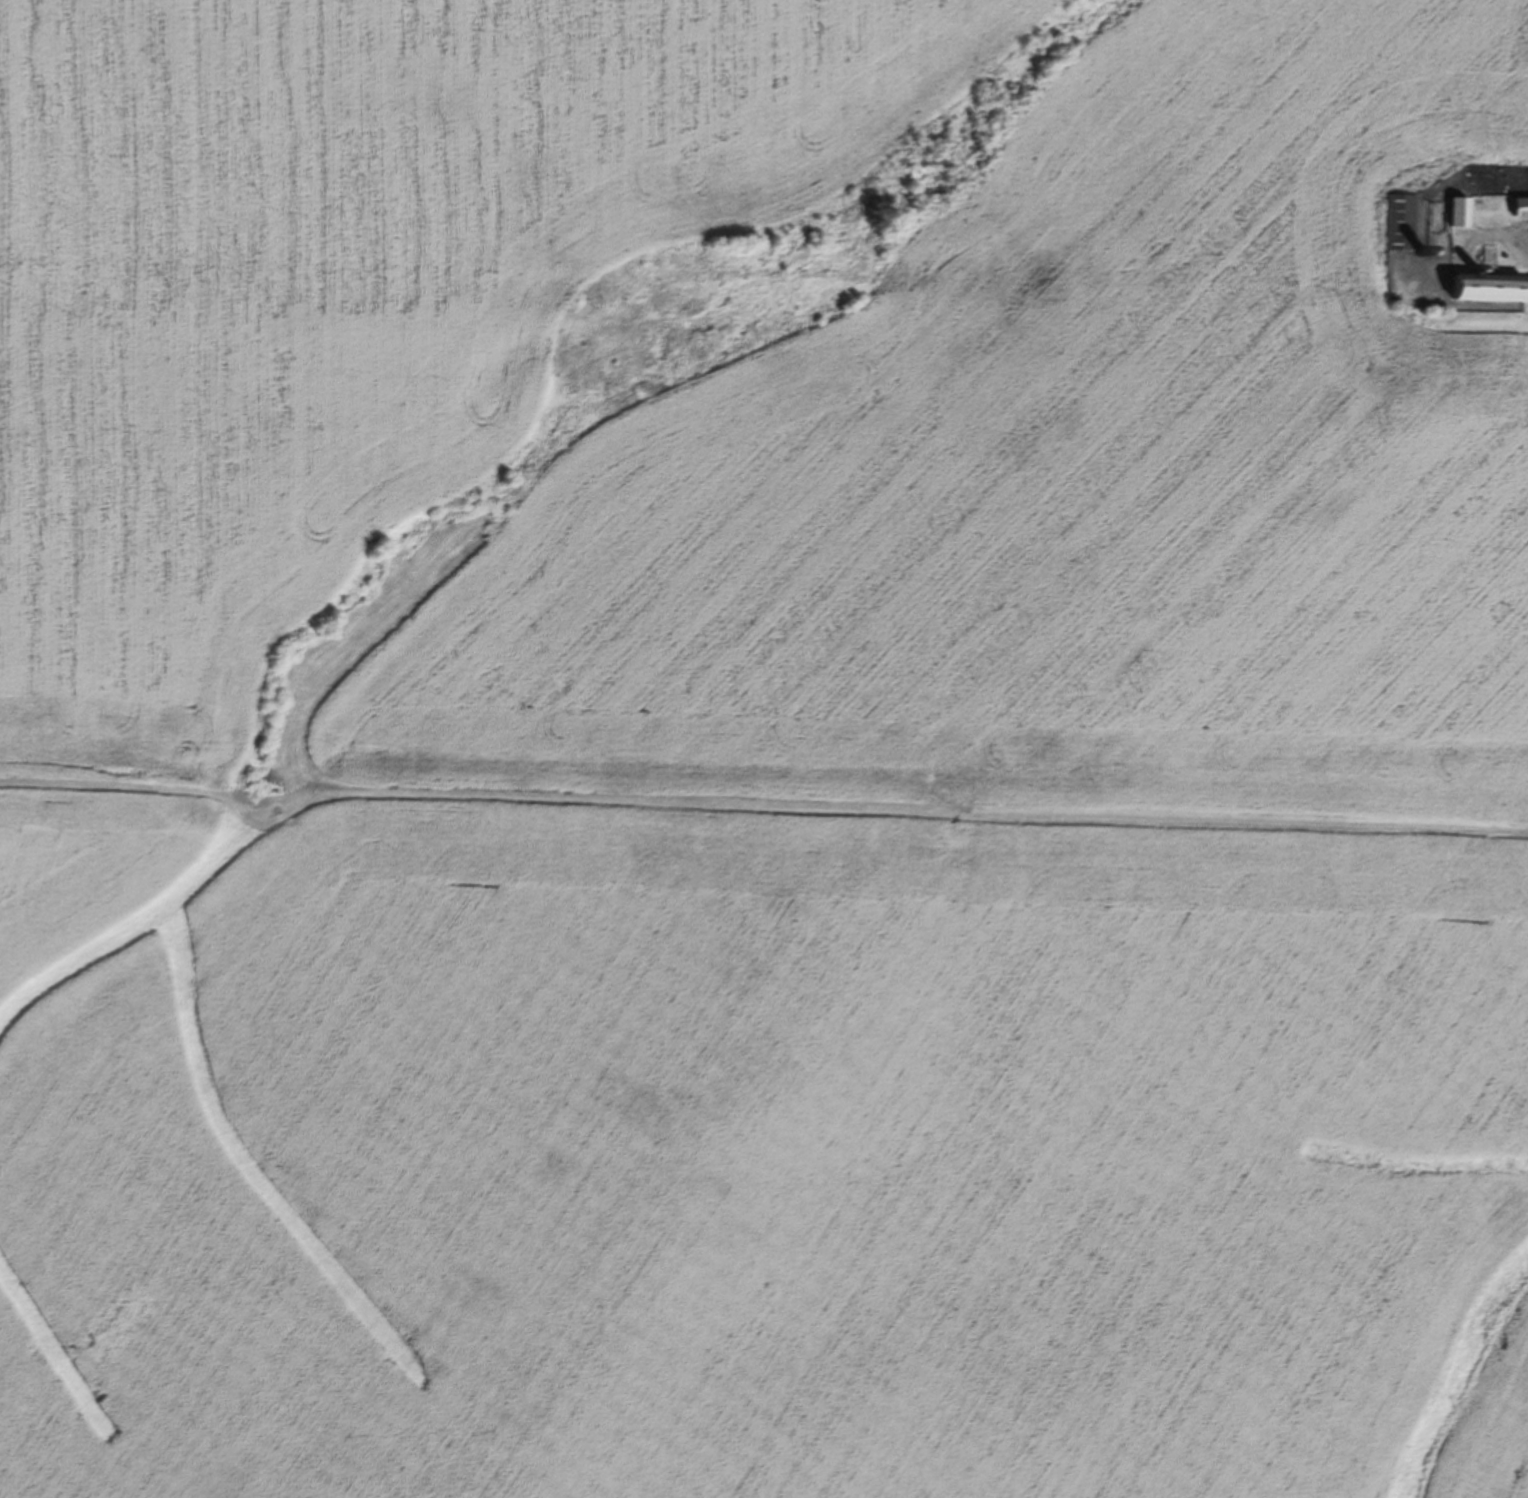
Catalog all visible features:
building: (1520, 207)
building: (1458, 212)
building: (1399, 223)
building: (1490, 288)

